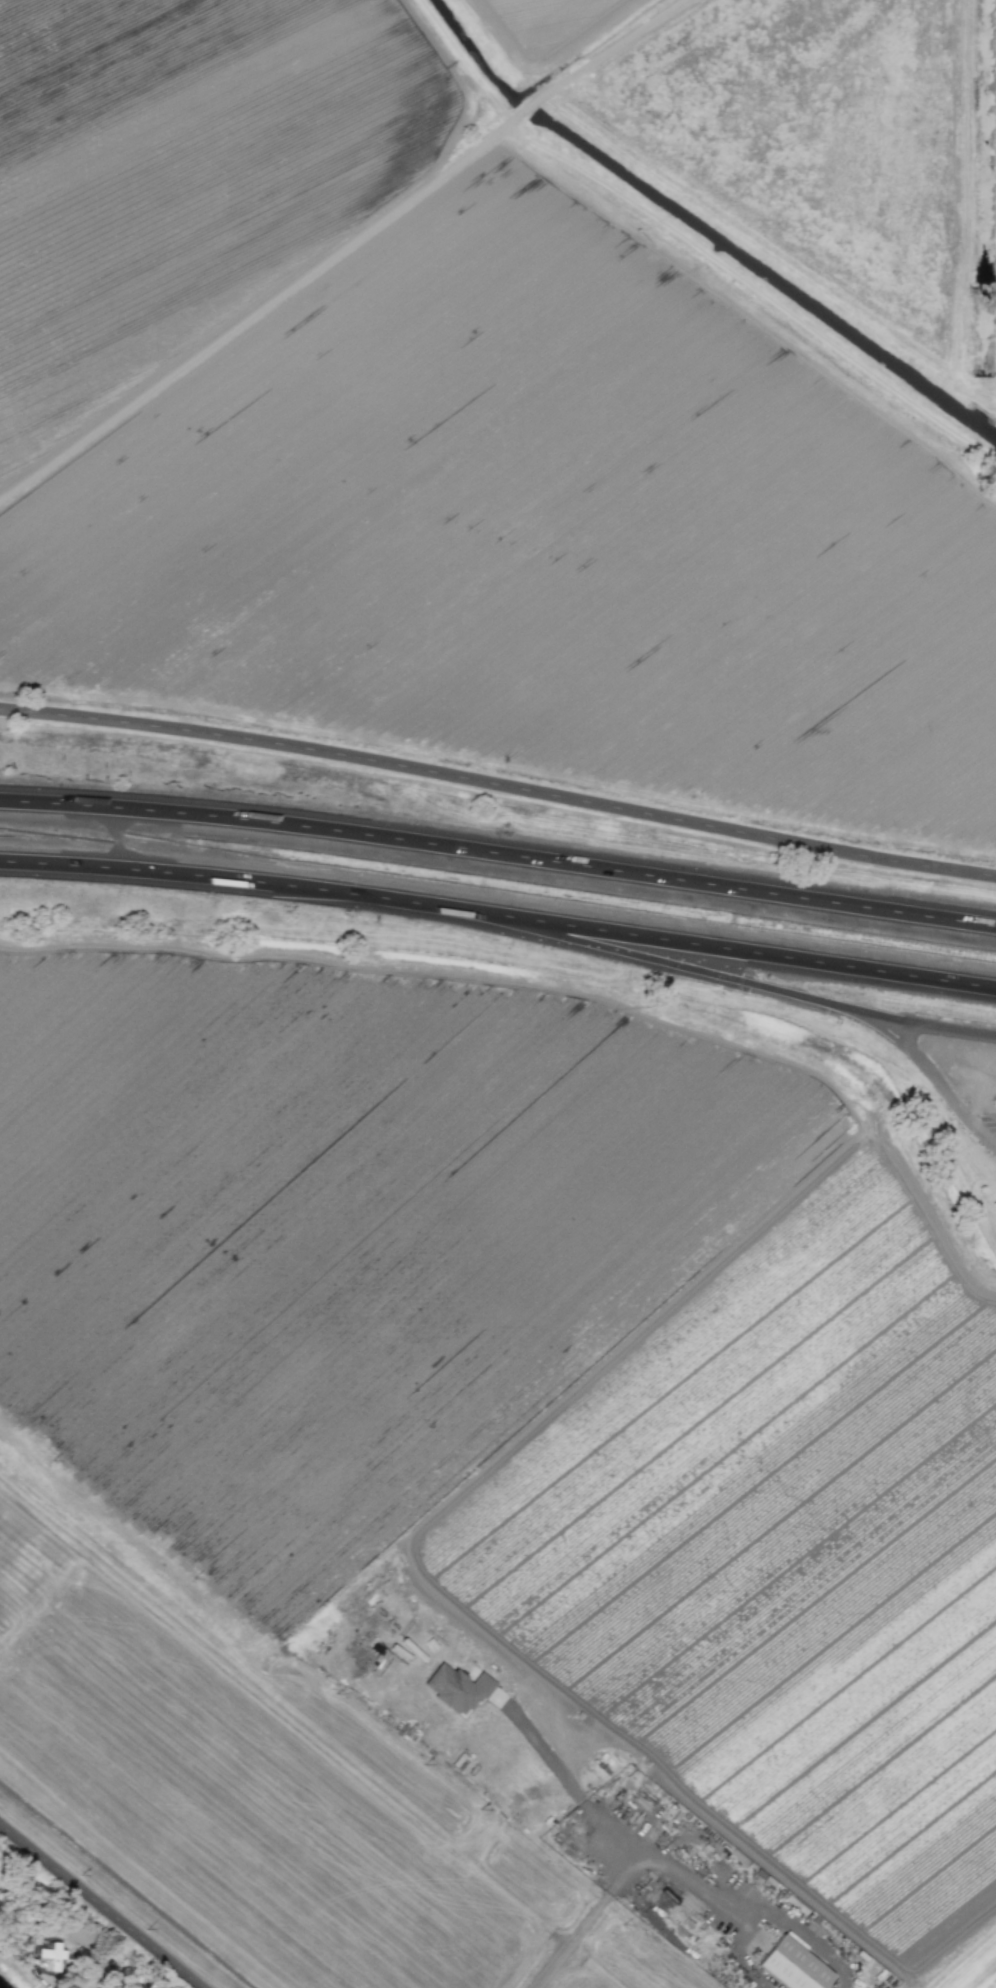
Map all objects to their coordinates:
road: (351, 251)
road: (499, 784)
road: (499, 853)
road: (231, 877)
road: (728, 949)
road: (662, 961)
road: (930, 1027)
road: (934, 1076)
building: (455, 1688)
road: (634, 1848)
road: (693, 1879)
road: (104, 1904)
road: (807, 1935)
road: (740, 1952)
building: (791, 1966)

